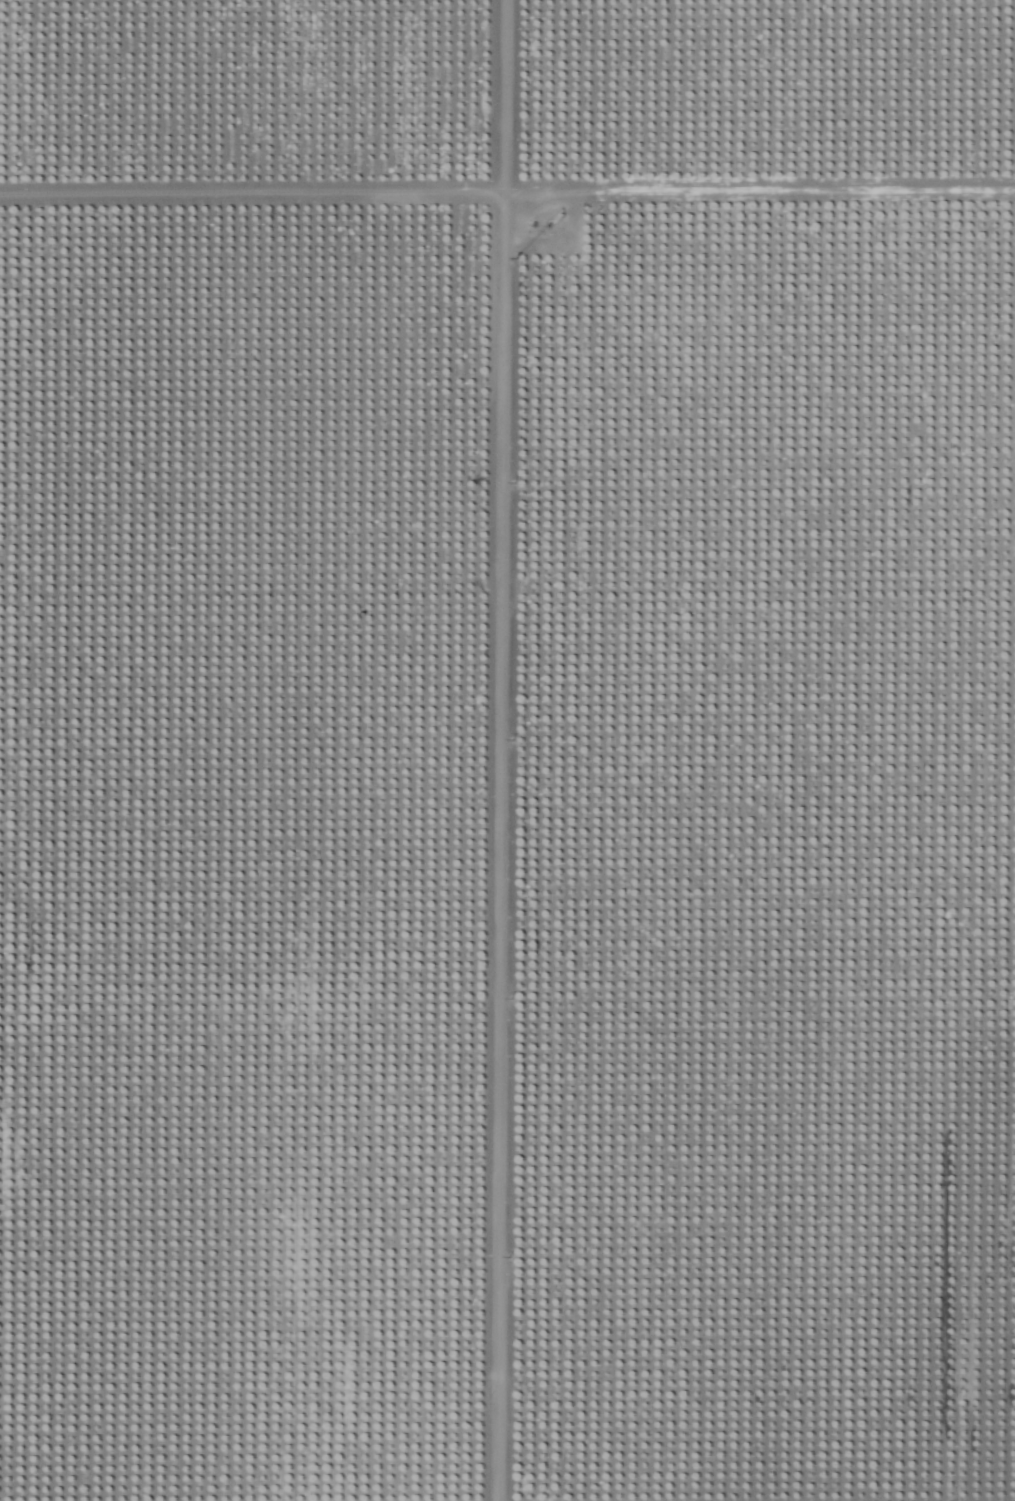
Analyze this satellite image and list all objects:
road: (4, 396)
crop: (507, 750)

